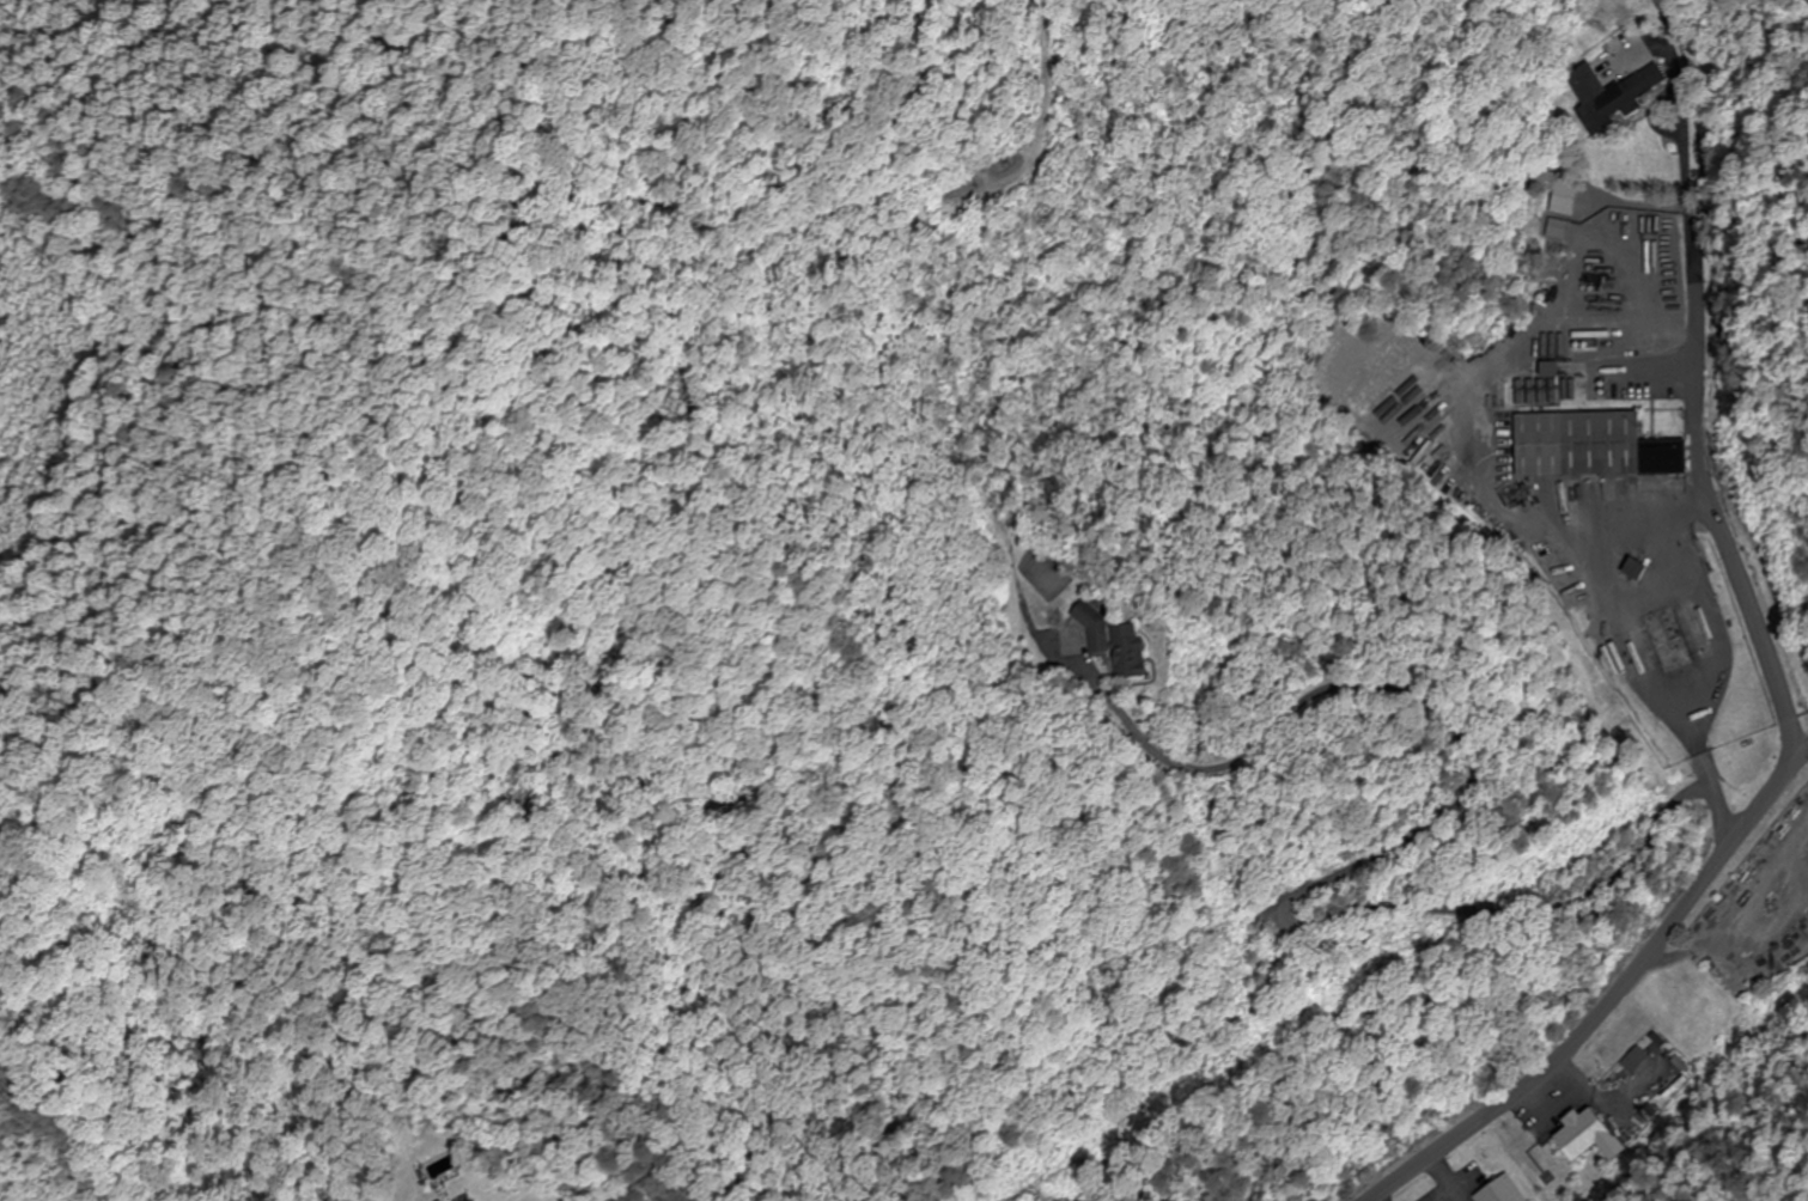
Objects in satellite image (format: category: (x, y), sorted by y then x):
building: (1614, 97)
building: (1559, 230)
building: (1579, 435)
building: (1663, 449)
road: (1704, 496)
building: (1090, 618)
building: (1131, 652)
road: (1323, 785)
road: (1426, 833)
road: (1617, 999)
building: (1639, 1061)
building: (1594, 1138)
building: (1505, 1191)

